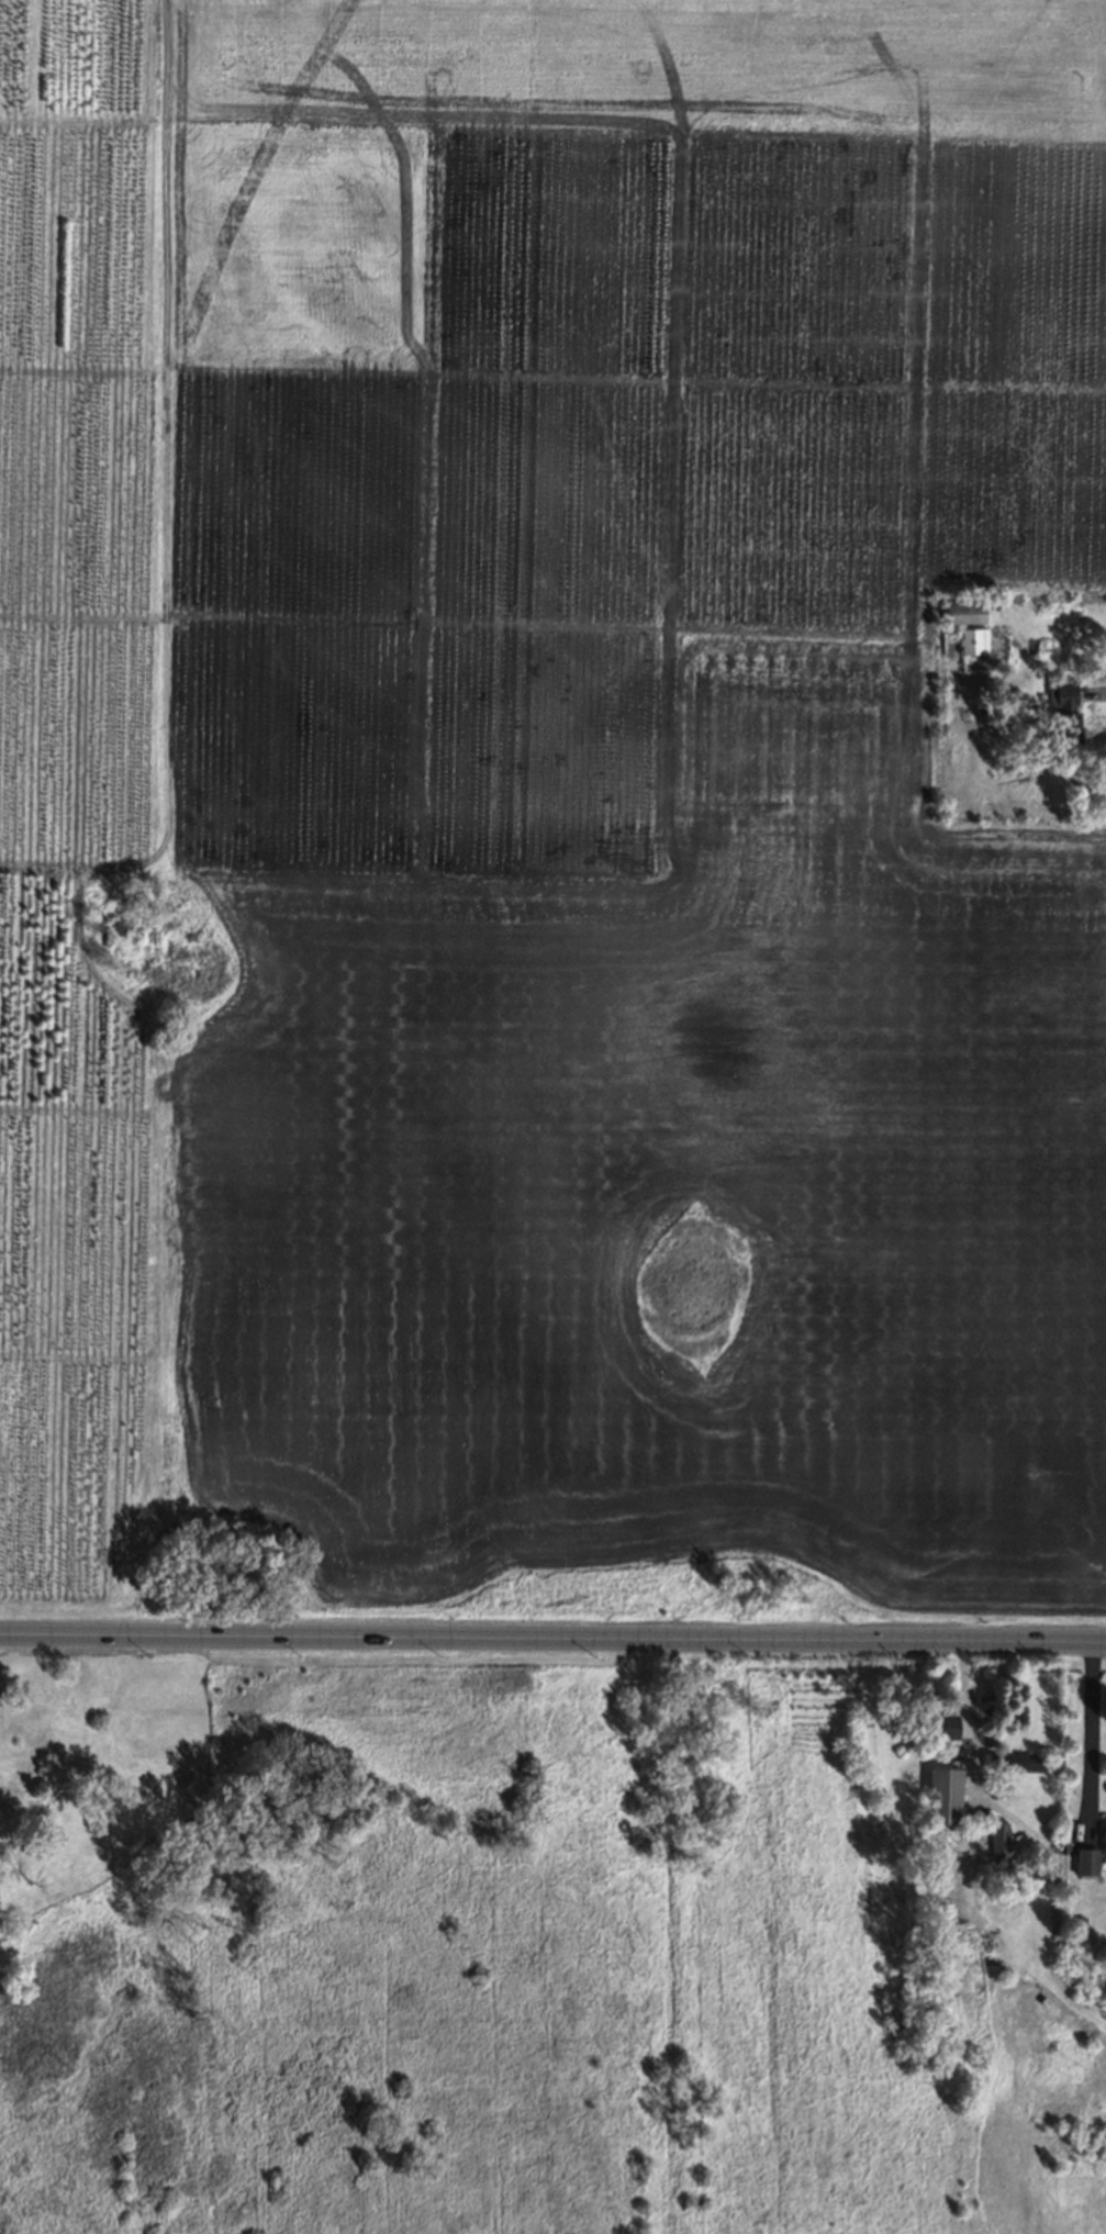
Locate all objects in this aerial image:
building: (963, 611)
building: (973, 639)
building: (1062, 712)
road: (552, 1637)
building: (930, 1718)
building: (1013, 1760)
building: (940, 1795)
road: (1043, 1830)
building: (997, 1839)
building: (1103, 1839)
building: (1083, 1859)
building: (1053, 1953)

